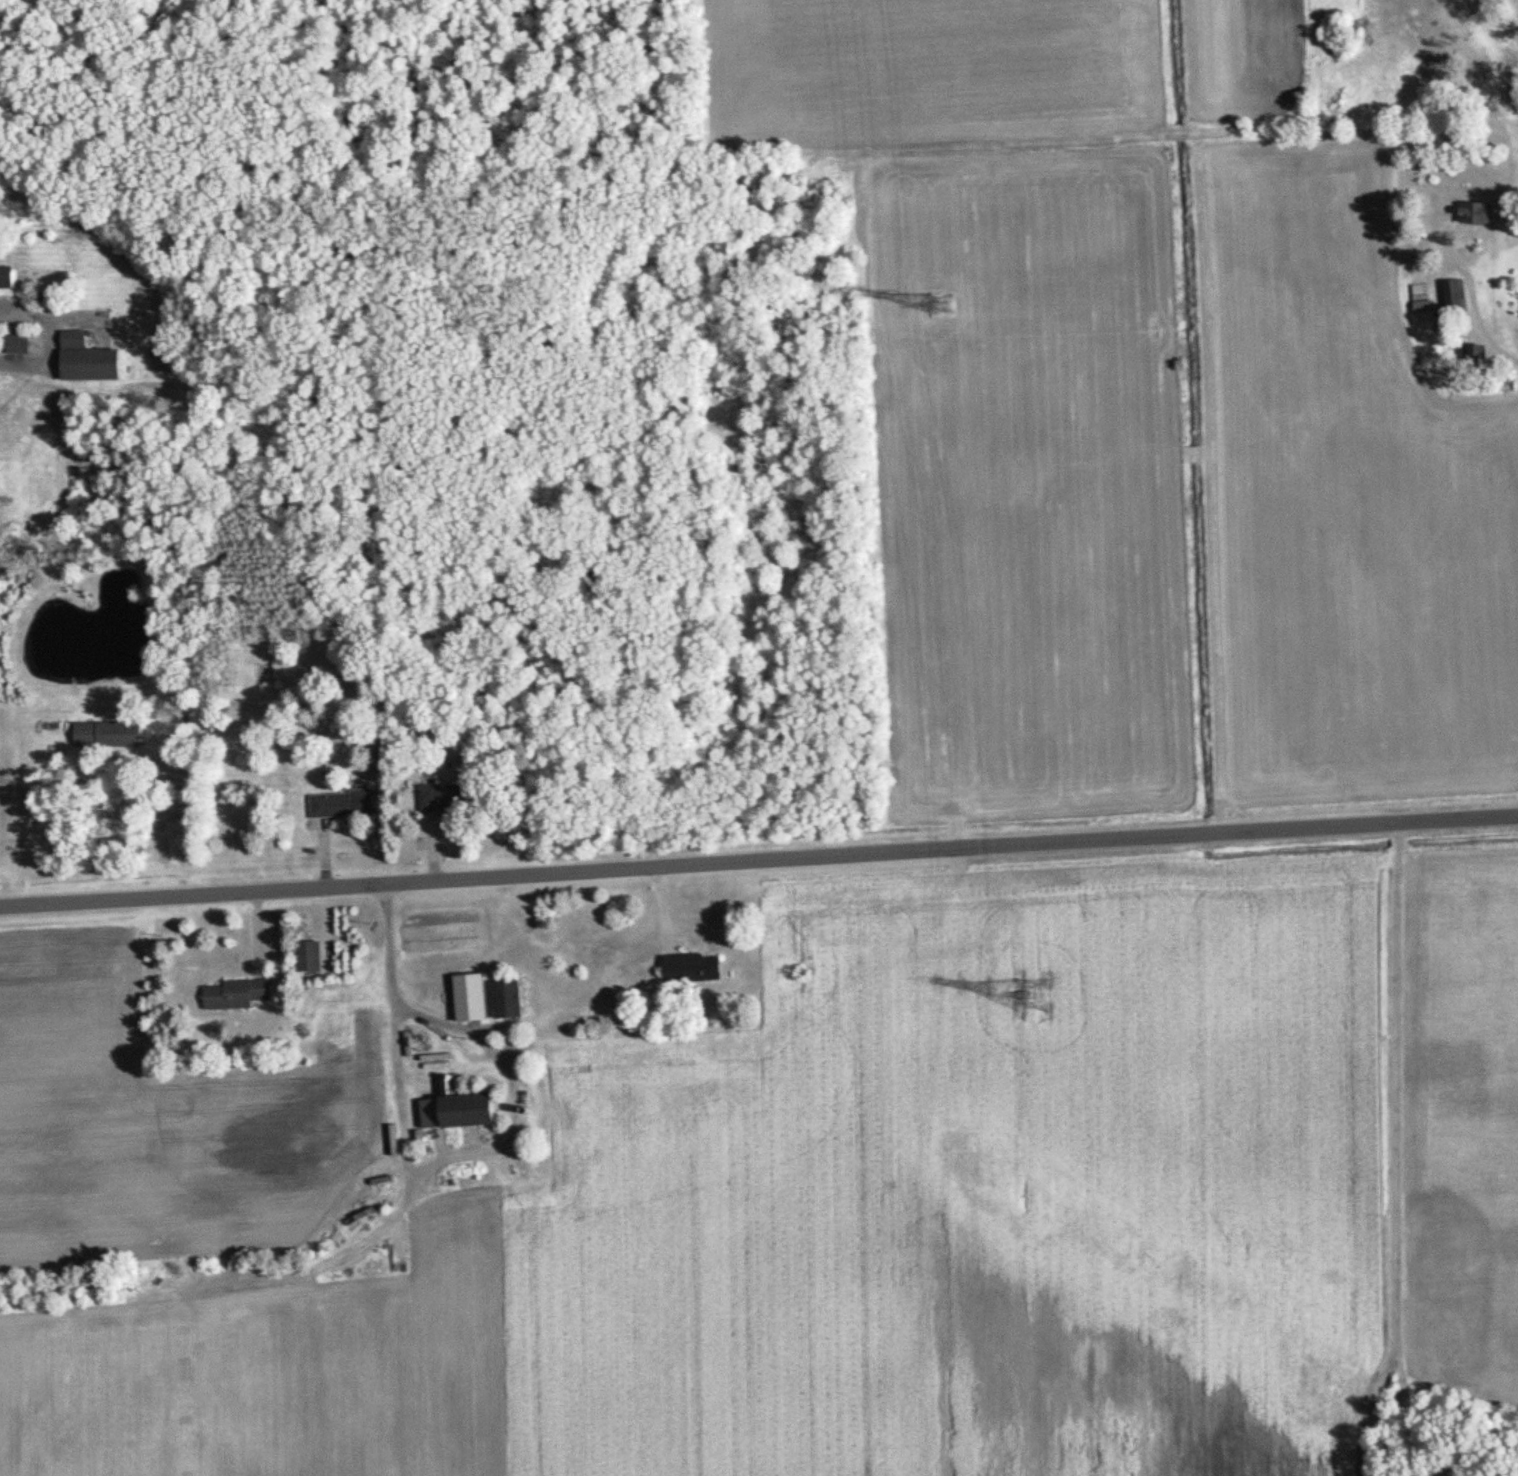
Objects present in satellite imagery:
building: (1480, 213)
building: (8, 278)
building: (1454, 293)
road: (1467, 301)
power tower: (944, 307)
road: (49, 338)
building: (23, 343)
building: (91, 359)
building: (114, 734)
building: (443, 796)
building: (348, 804)
road: (758, 860)
building: (315, 957)
building: (696, 968)
building: (242, 994)
power tower: (1034, 995)
building: (513, 997)
building: (468, 1109)

